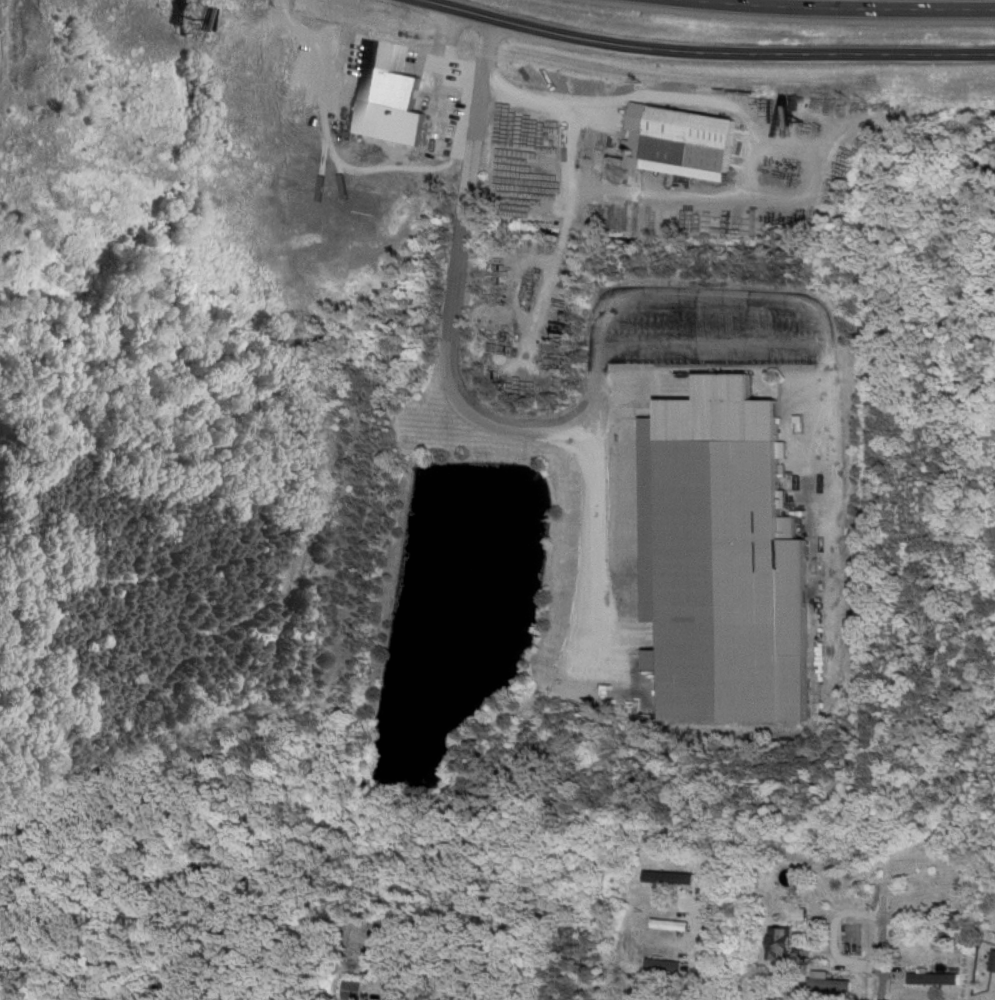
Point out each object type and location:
road: (825, 13)
road: (544, 32)
building: (110, 45)
road: (836, 55)
building: (390, 58)
building: (268, 69)
road: (548, 106)
building: (397, 123)
road: (458, 281)
road: (714, 300)
road: (713, 346)
building: (725, 559)
building: (671, 880)
building: (784, 945)
road: (847, 960)
building: (993, 967)
building: (935, 980)
building: (830, 983)
road: (878, 984)
building: (354, 990)

